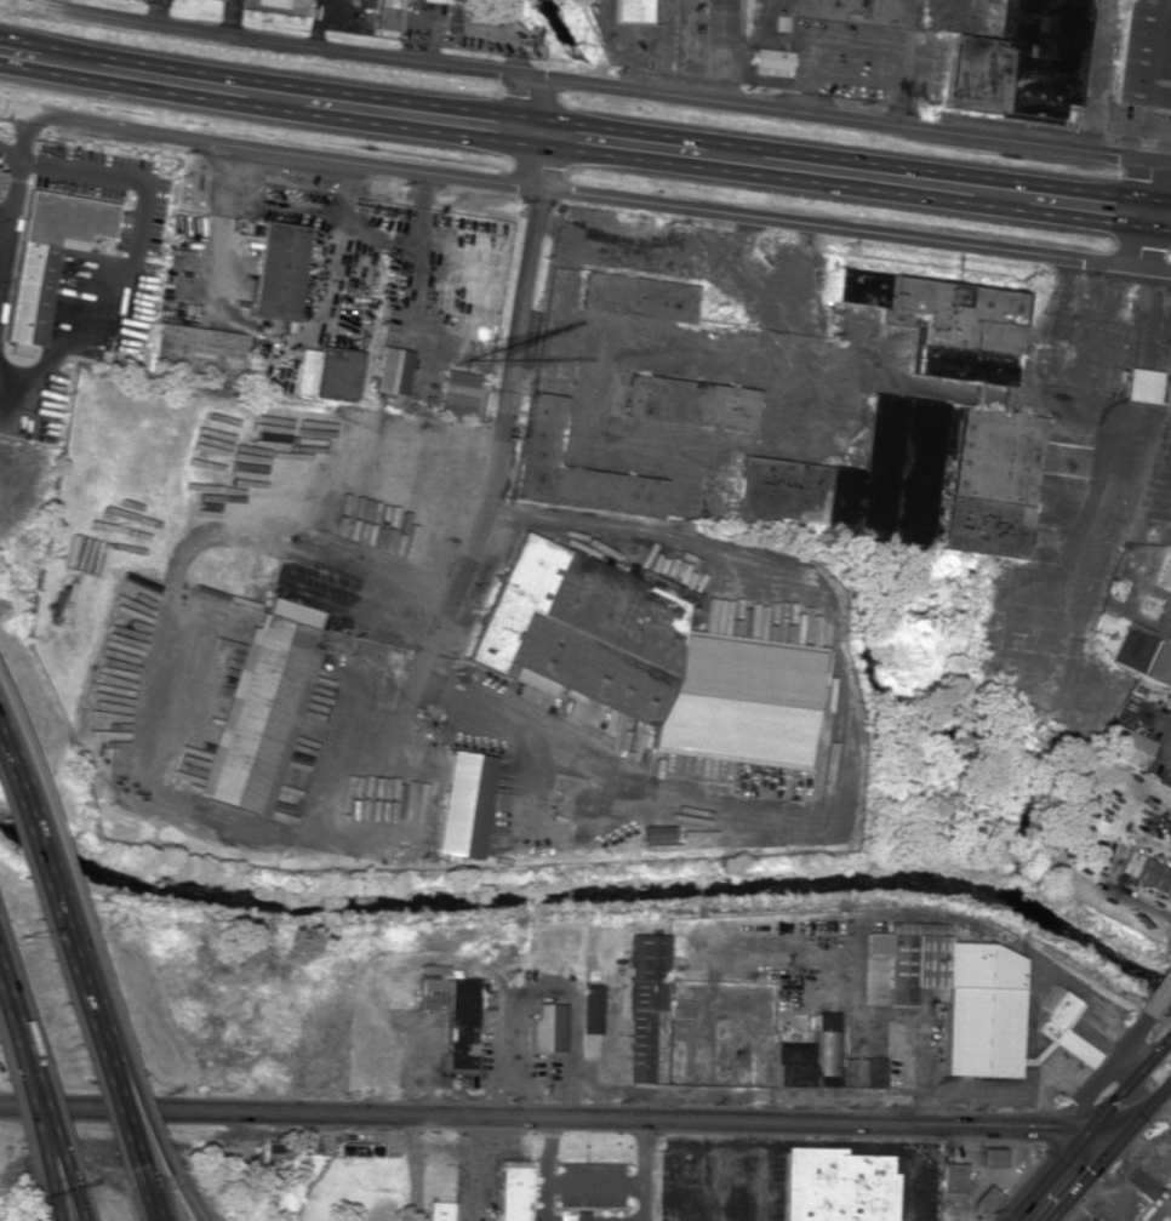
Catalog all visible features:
building: (240, 0)
building: (446, 0)
building: (632, 11)
building: (385, 15)
building: (719, 17)
river: (556, 32)
road: (18, 53)
building: (1144, 55)
building: (1019, 58)
building: (771, 62)
road: (168, 79)
road: (593, 84)
road: (417, 114)
road: (618, 142)
road: (867, 175)
road: (584, 193)
road: (1089, 198)
road: (1159, 201)
road: (1086, 212)
road: (1144, 215)
road: (1156, 230)
building: (45, 258)
building: (279, 272)
building: (636, 296)
building: (941, 323)
river: (727, 347)
building: (195, 352)
road: (741, 361)
building: (390, 371)
building: (326, 373)
building: (1139, 386)
building: (457, 394)
building: (1167, 394)
building: (687, 403)
road: (498, 458)
building: (573, 469)
building: (906, 479)
building: (629, 574)
road: (1149, 606)
building: (1143, 654)
building: (645, 661)
building: (258, 708)
building: (1124, 746)
river: (947, 770)
building: (462, 805)
building: (1144, 872)
river: (593, 892)
road: (72, 969)
road: (707, 988)
building: (956, 997)
road: (1158, 998)
building: (642, 1002)
building: (590, 1009)
building: (678, 1009)
building: (452, 1012)
building: (1059, 1026)
building: (544, 1028)
building: (822, 1061)
road: (1103, 1071)
road: (25, 1085)
road: (136, 1117)
road: (550, 1122)
road: (1097, 1140)
road: (787, 1147)
building: (358, 1149)
building: (988, 1156)
road: (413, 1170)
road: (542, 1170)
road: (649, 1171)
parking lot: (720, 1180)
road: (595, 1182)
building: (589, 1183)
parking lot: (589, 1183)
road: (714, 1183)
road: (760, 1183)
parking lot: (914, 1183)
building: (949, 1185)
building: (835, 1186)
building: (513, 1191)
road: (55, 1193)
road: (61, 1193)
road: (184, 1197)
building: (1146, 1197)
building: (982, 1198)
road: (149, 1202)
building: (440, 1211)
building: (577, 1216)

